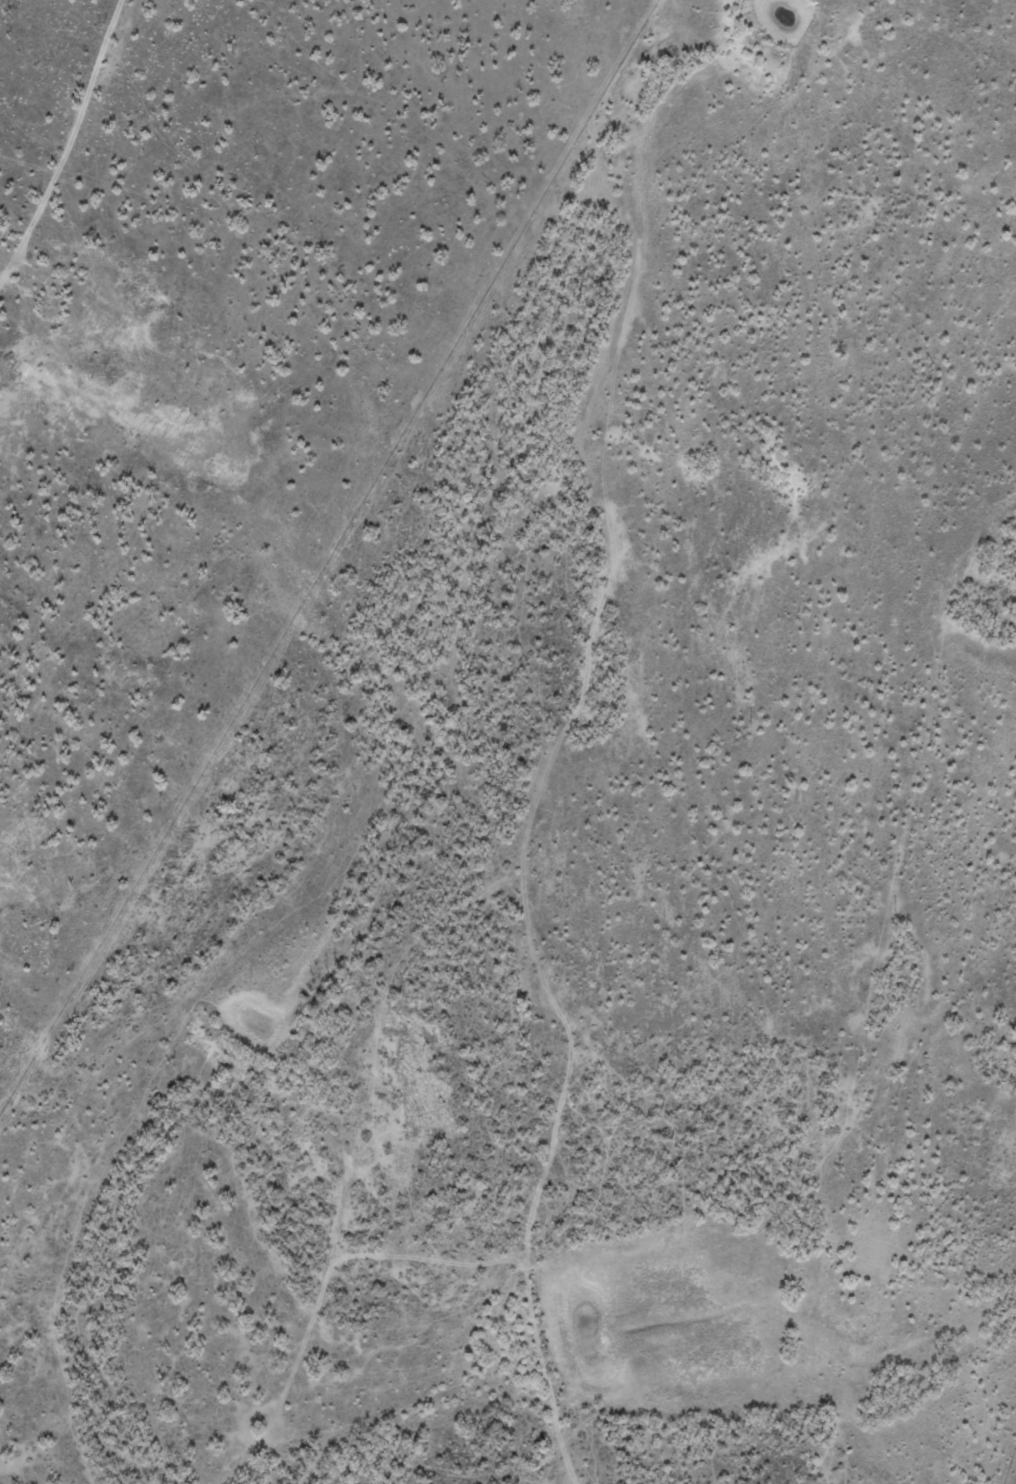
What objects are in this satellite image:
road: (99, 212)

